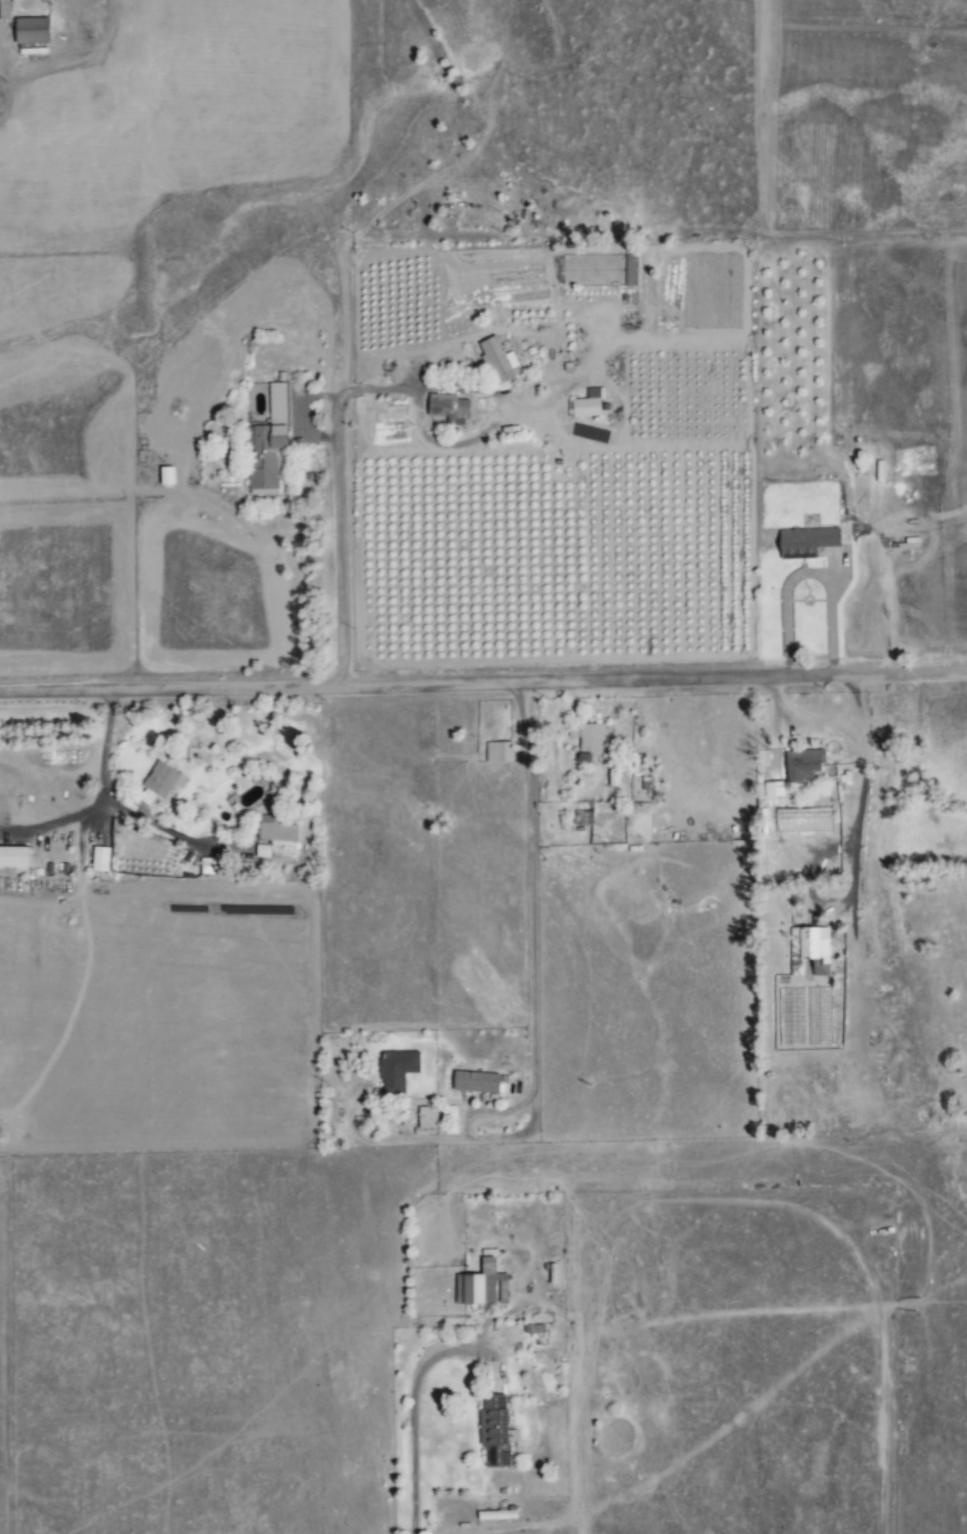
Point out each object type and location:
building: (36, 30)
building: (502, 360)
road: (327, 372)
building: (590, 407)
building: (452, 409)
building: (274, 440)
building: (170, 475)
building: (808, 543)
building: (911, 544)
road: (483, 684)
building: (591, 740)
building: (501, 752)
building: (806, 765)
building: (166, 780)
building: (777, 790)
road: (95, 796)
building: (276, 835)
building: (17, 857)
building: (103, 859)
building: (213, 866)
road: (533, 1036)
building: (399, 1071)
building: (479, 1082)
building: (430, 1118)
building: (480, 1286)
road: (412, 1430)
building: (494, 1431)

